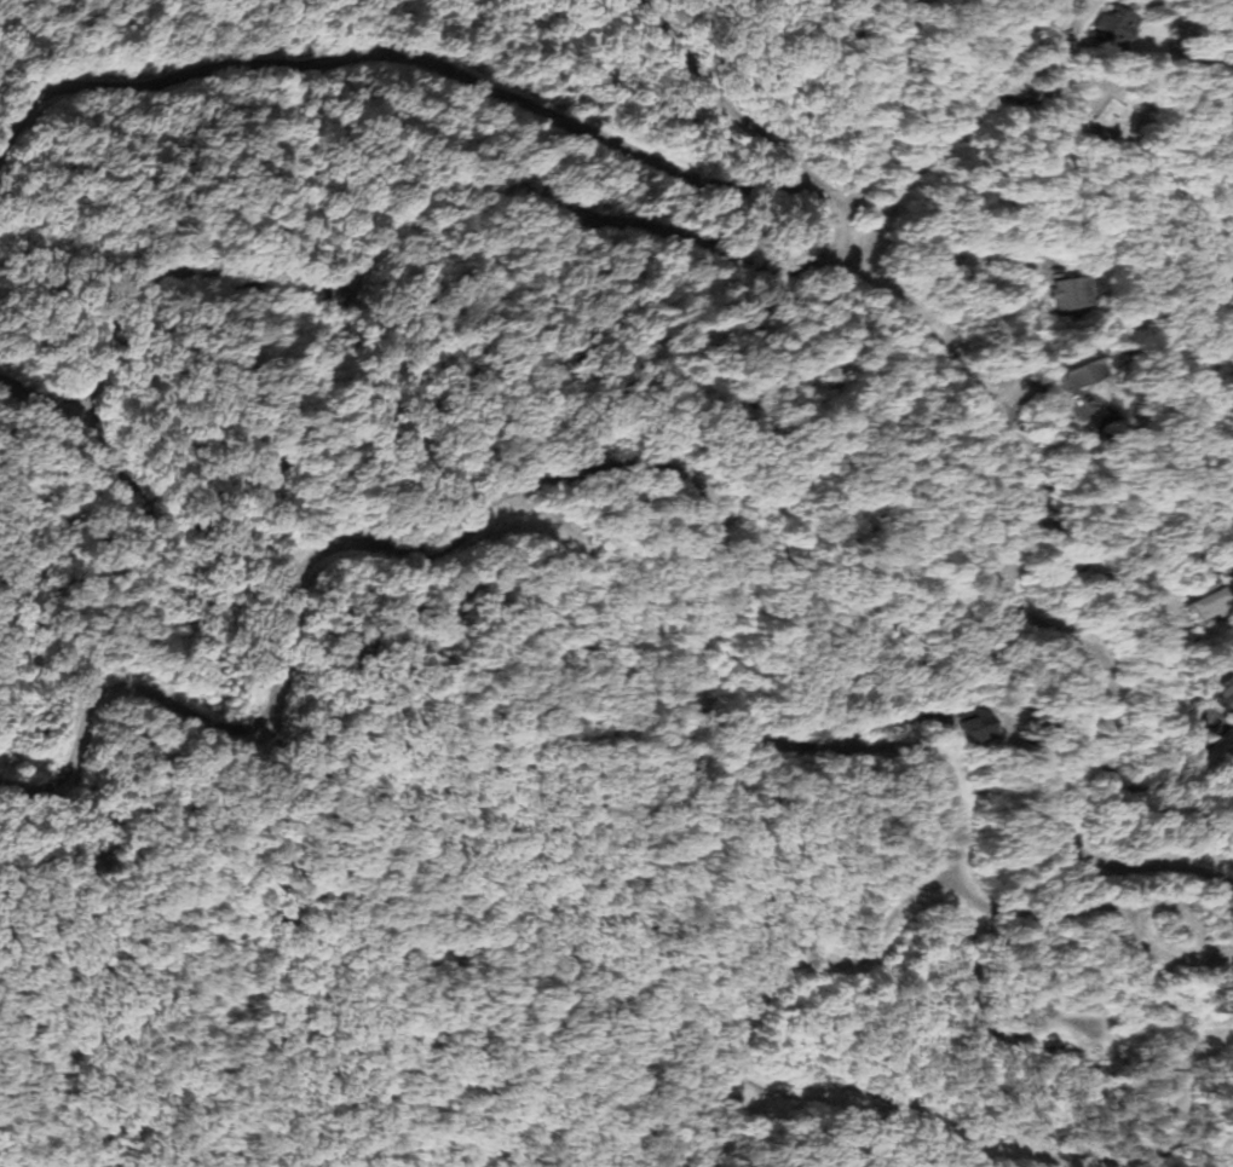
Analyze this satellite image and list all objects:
building: (1107, 28)
road: (425, 45)
road: (927, 126)
road: (703, 250)
building: (1066, 290)
road: (111, 299)
building: (1077, 370)
road: (1003, 427)
road: (715, 705)

